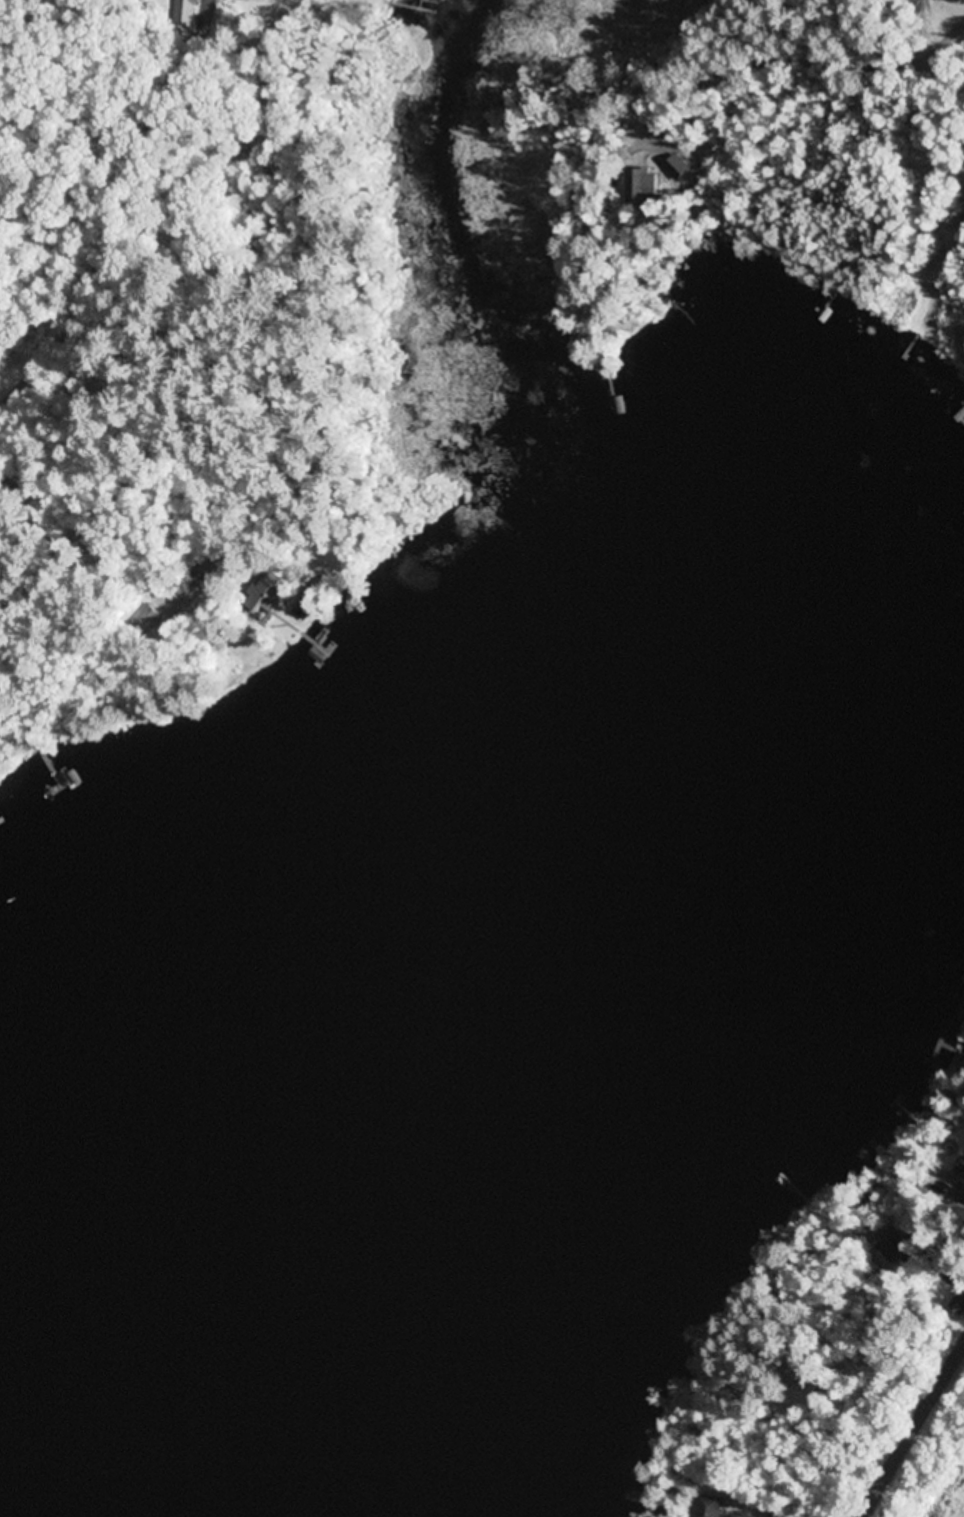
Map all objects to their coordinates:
building: (183, 13)
road: (122, 212)
road: (87, 550)
building: (269, 598)
building: (150, 619)
building: (1, 678)
building: (960, 1173)
building: (892, 1249)
building: (959, 1303)
road: (913, 1430)
building: (712, 1506)

